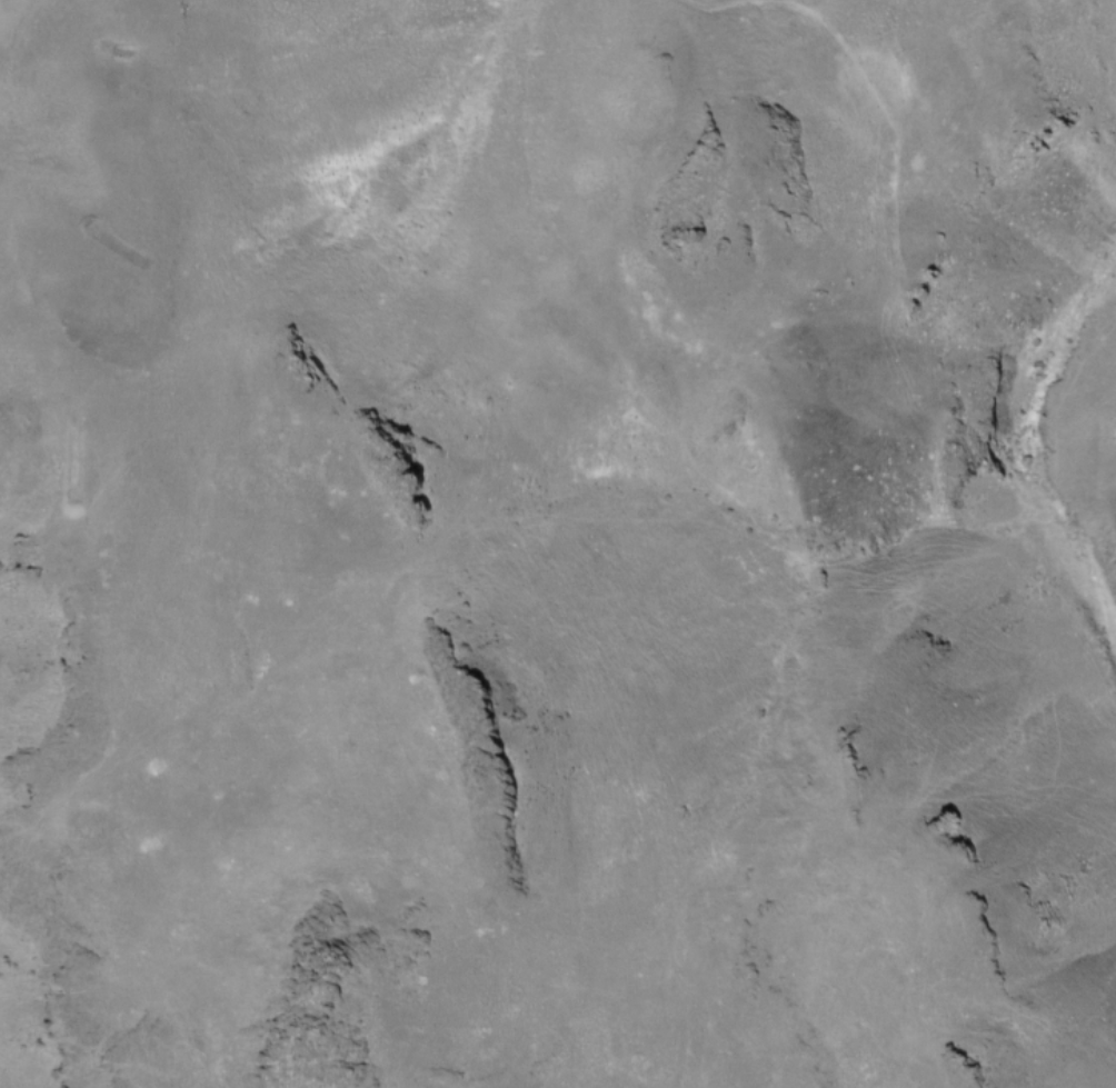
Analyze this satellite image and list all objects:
road: (714, 3)
road: (883, 109)

